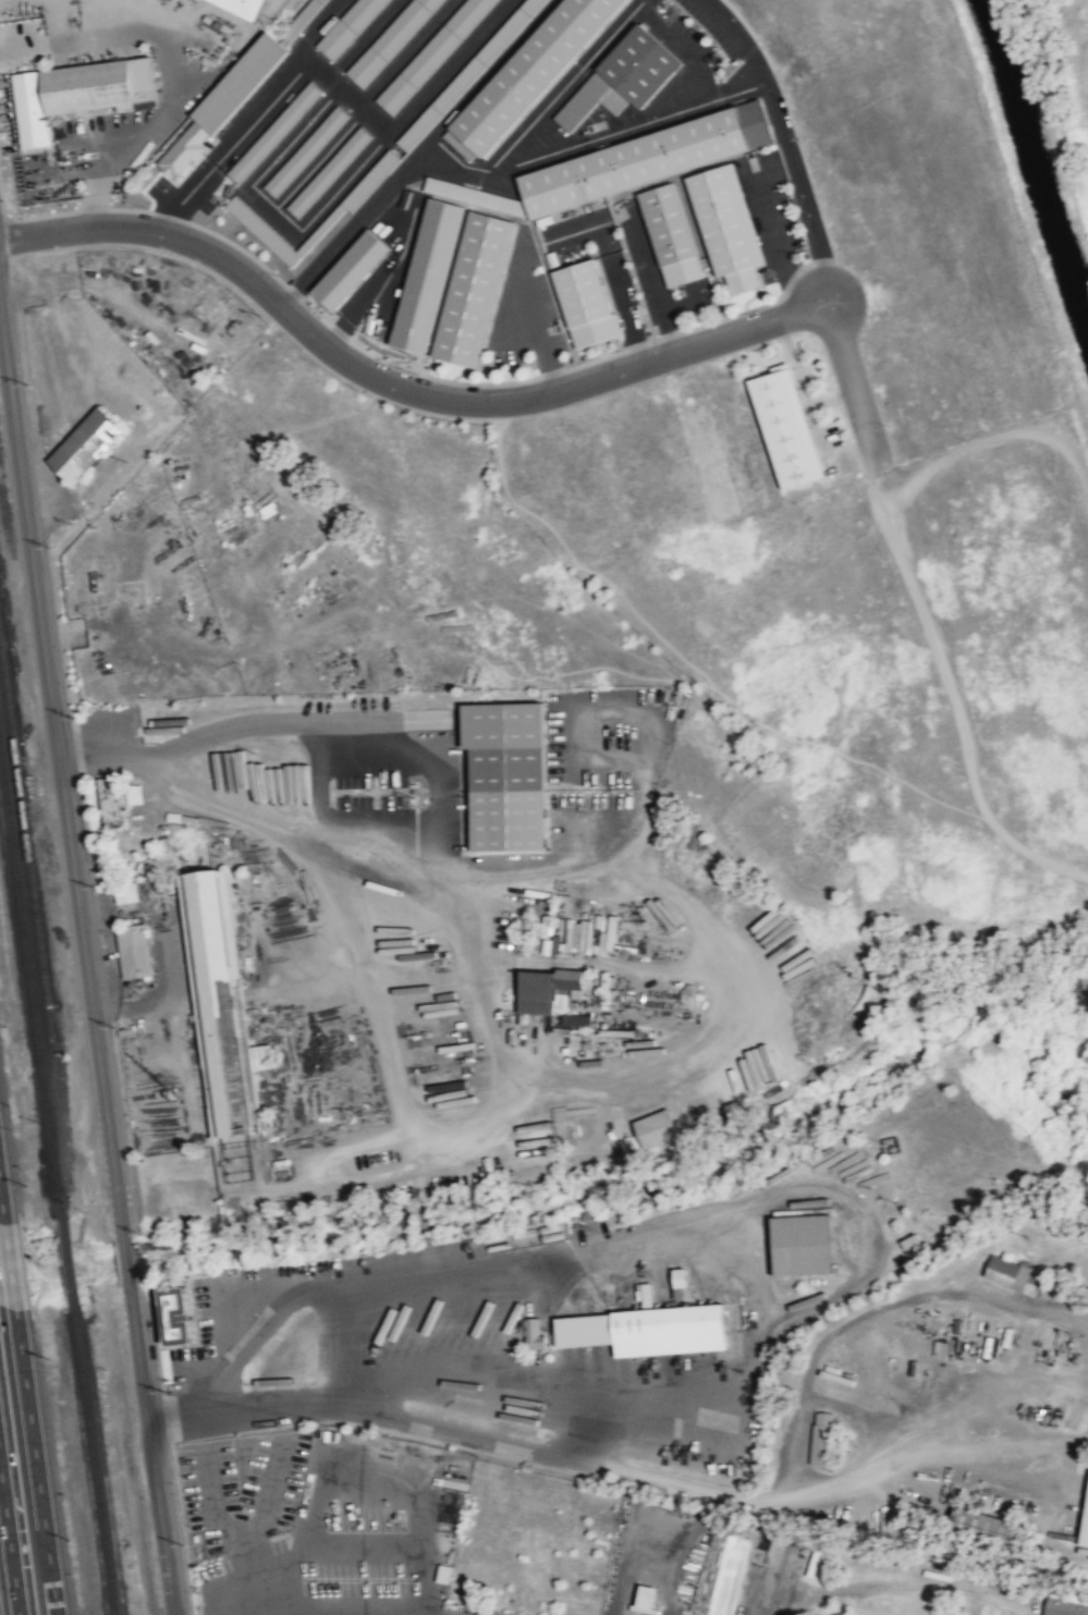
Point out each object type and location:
building: (246, 7)
building: (303, 19)
building: (350, 27)
road: (311, 28)
road: (365, 37)
building: (390, 40)
road: (158, 44)
road: (600, 47)
road: (406, 51)
building: (431, 53)
road: (450, 64)
building: (468, 73)
building: (528, 74)
building: (623, 76)
building: (78, 93)
building: (222, 103)
road: (389, 127)
building: (273, 132)
road: (586, 132)
road: (783, 138)
building: (305, 150)
road: (414, 150)
building: (645, 158)
road: (318, 159)
building: (328, 171)
building: (447, 188)
road: (771, 219)
building: (728, 225)
building: (262, 231)
building: (671, 234)
road: (644, 256)
building: (477, 289)
building: (586, 304)
road: (661, 313)
road: (624, 316)
road: (538, 329)
road: (853, 378)
road: (403, 384)
building: (785, 425)
building: (86, 443)
building: (510, 774)
road: (62, 776)
building: (117, 800)
building: (127, 893)
railway: (36, 915)
building: (134, 951)
railway: (30, 983)
building: (551, 990)
building: (216, 1002)
building: (265, 1056)
building: (658, 1127)
road: (1, 1209)
building: (807, 1245)
railway: (69, 1262)
road: (126, 1262)
road: (9, 1265)
building: (1017, 1275)
building: (682, 1277)
building: (649, 1295)
building: (180, 1317)
building: (648, 1331)
building: (534, 1333)
building: (823, 1439)
road: (150, 1448)
railway: (95, 1460)
road: (35, 1461)
building: (991, 1525)
building: (1086, 1532)
road: (9, 1543)
building: (648, 1599)
building: (1065, 1607)

